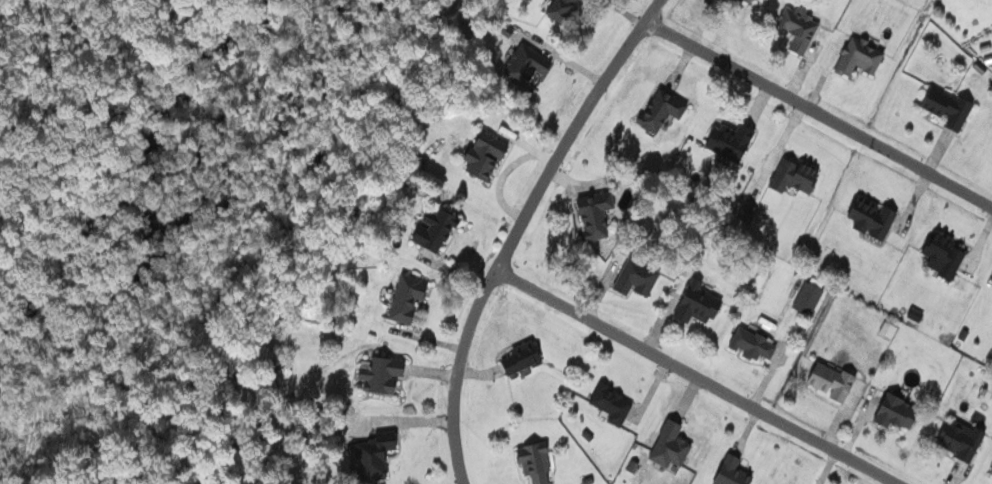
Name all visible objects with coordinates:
building: (754, 0)
building: (563, 8)
building: (802, 26)
building: (862, 56)
building: (529, 63)
building: (952, 106)
building: (664, 109)
road: (819, 110)
building: (734, 139)
building: (489, 153)
building: (797, 174)
building: (598, 213)
building: (874, 216)
road: (516, 228)
building: (439, 229)
building: (946, 253)
building: (639, 276)
building: (410, 297)
building: (810, 297)
building: (701, 302)
building: (917, 313)
building: (890, 328)
building: (755, 343)
building: (525, 356)
building: (385, 373)
road: (693, 377)
building: (834, 380)
building: (615, 403)
building: (900, 410)
building: (962, 437)
building: (673, 444)
building: (378, 453)
building: (537, 461)
building: (735, 471)

